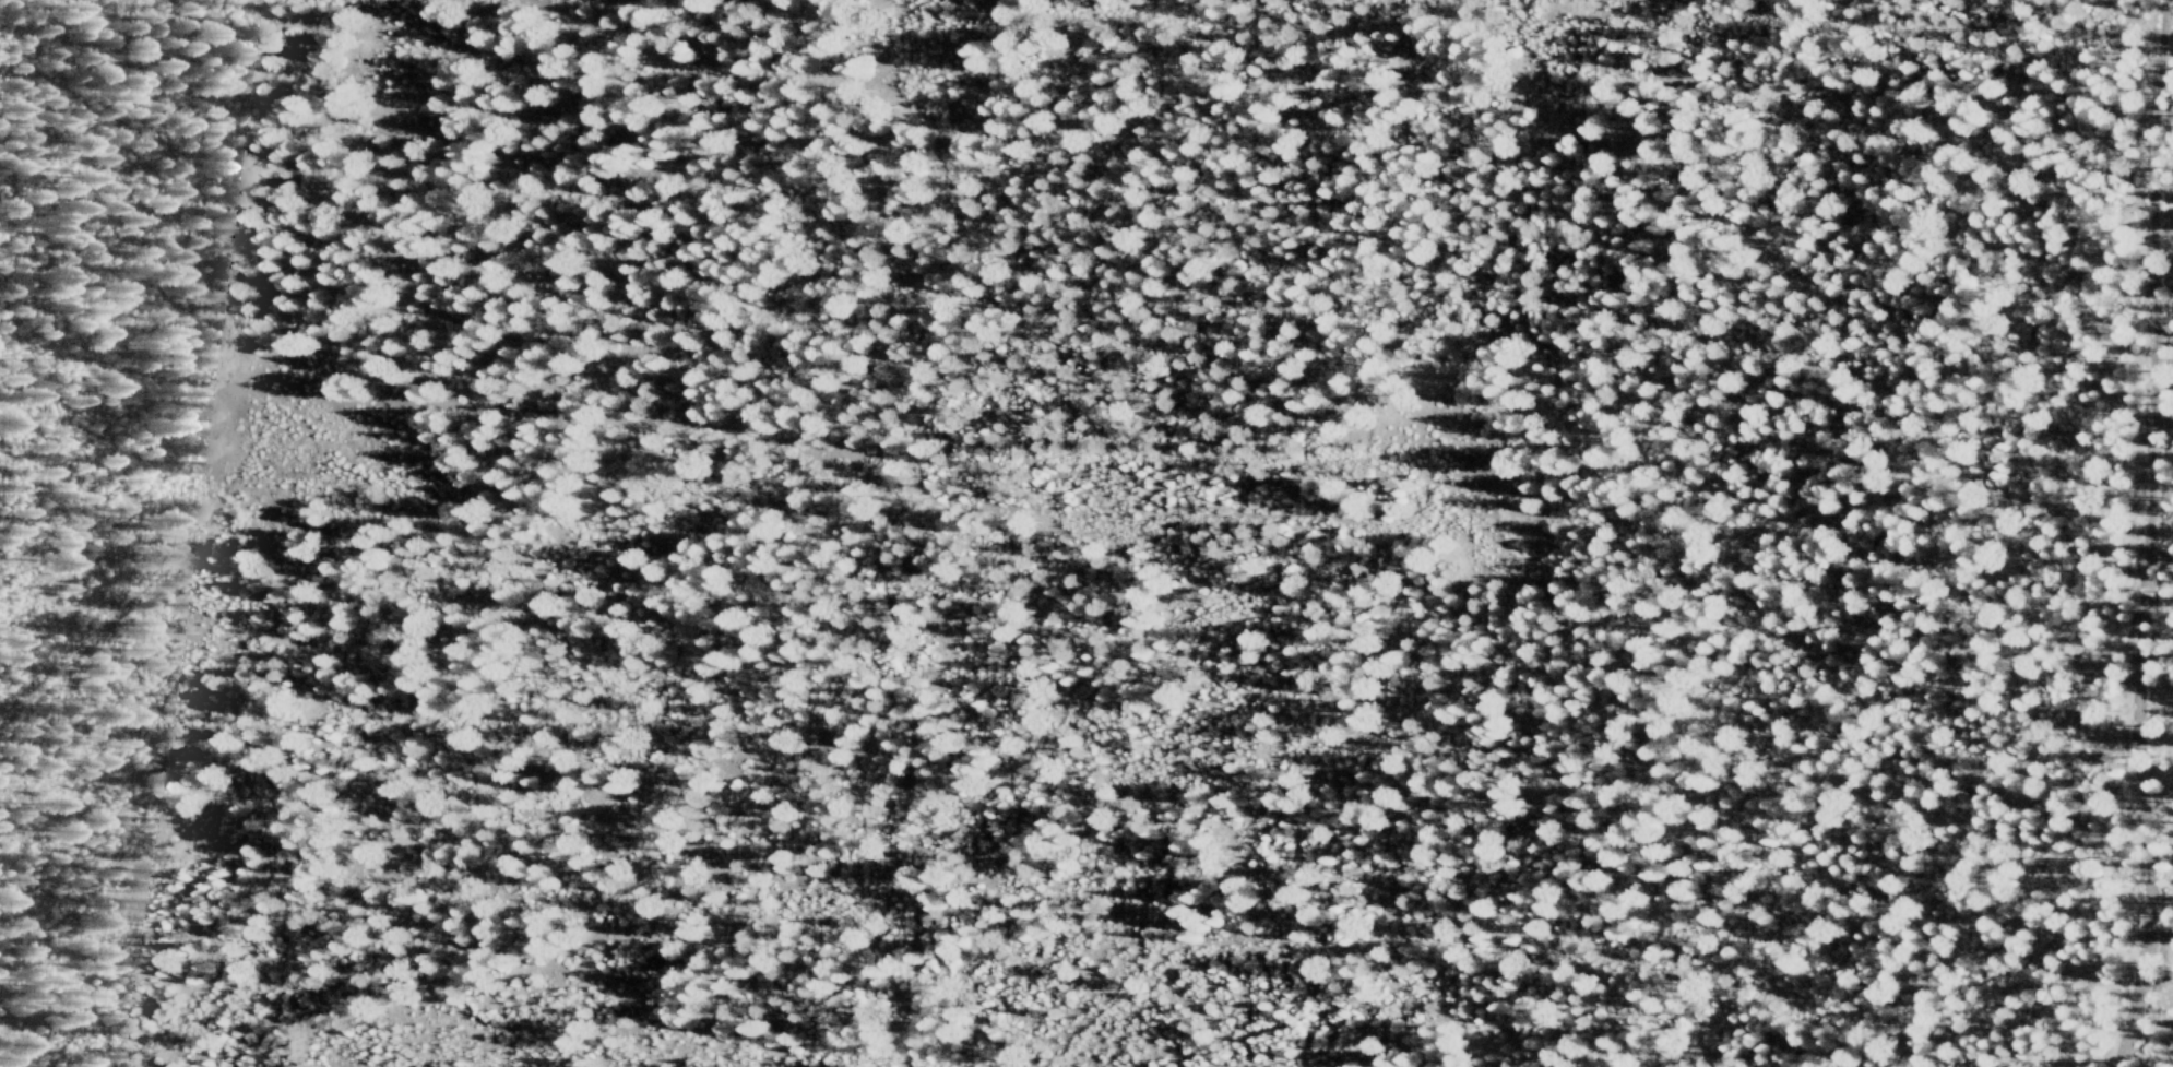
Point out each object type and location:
road: (2148, 533)

